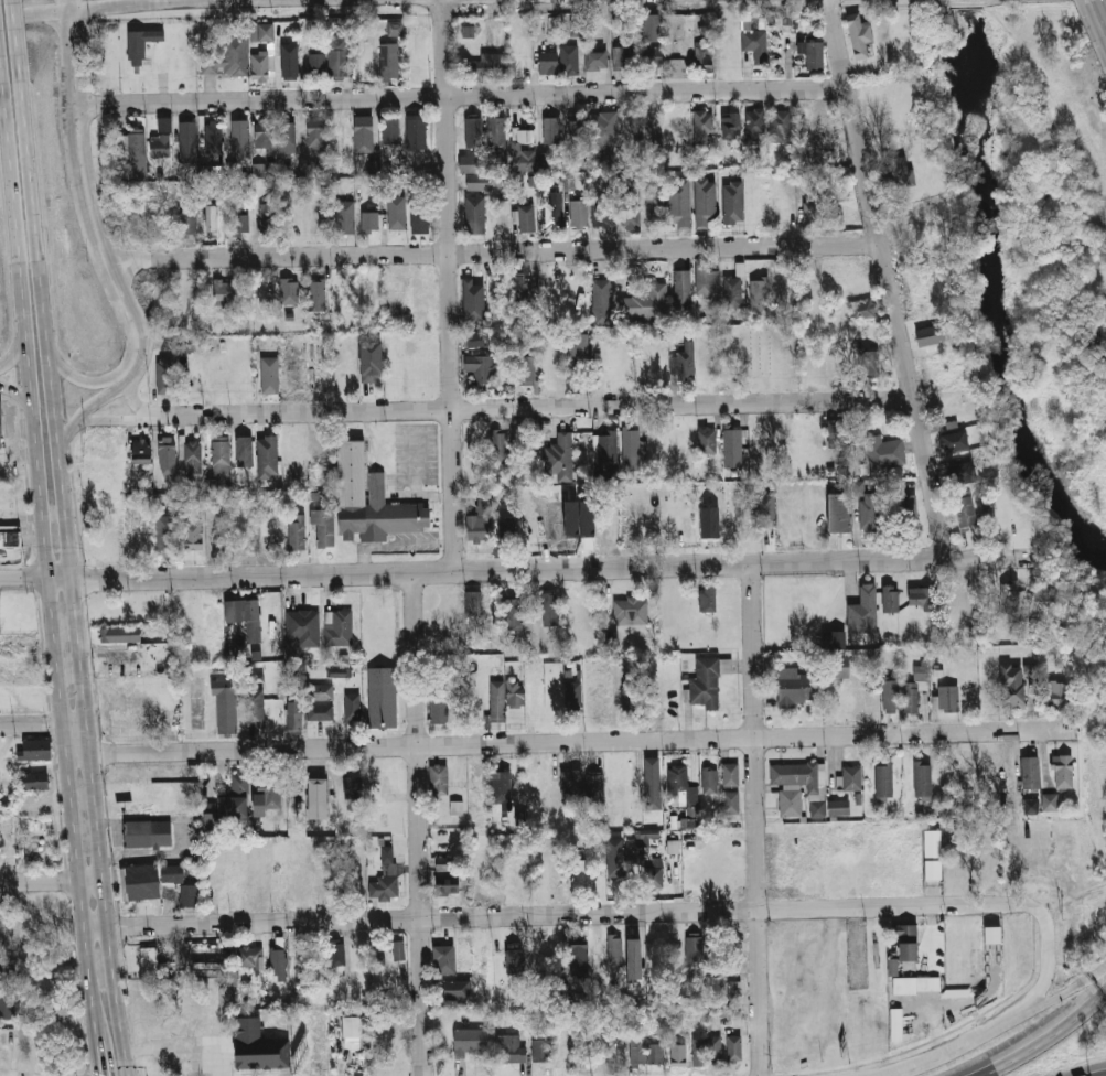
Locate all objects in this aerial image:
road: (1103, 6)
road: (85, 8)
river: (964, 10)
building: (748, 20)
building: (551, 23)
building: (394, 28)
building: (652, 28)
building: (254, 32)
building: (265, 33)
building: (859, 35)
road: (25, 41)
building: (754, 44)
building: (139, 45)
road: (3, 47)
building: (814, 55)
building: (652, 56)
building: (337, 57)
building: (621, 57)
building: (702, 57)
building: (226, 58)
building: (594, 58)
building: (569, 61)
building: (389, 62)
building: (546, 63)
building: (259, 65)
building: (289, 65)
building: (316, 65)
building: (486, 66)
building: (675, 67)
road: (455, 96)
building: (729, 125)
building: (752, 125)
building: (780, 125)
building: (576, 128)
building: (550, 129)
building: (390, 130)
building: (415, 131)
building: (472, 131)
building: (602, 131)
building: (700, 131)
building: (262, 132)
building: (495, 132)
building: (315, 133)
building: (363, 133)
building: (213, 137)
building: (239, 137)
building: (286, 137)
building: (186, 141)
building: (160, 146)
building: (522, 149)
building: (133, 151)
building: (541, 160)
building: (470, 163)
building: (230, 169)
building: (258, 170)
building: (210, 171)
building: (896, 172)
building: (483, 181)
road: (89, 190)
building: (678, 200)
building: (704, 201)
building: (732, 202)
building: (502, 206)
building: (654, 207)
building: (551, 211)
building: (810, 211)
building: (395, 212)
building: (629, 212)
building: (578, 213)
building: (601, 213)
building: (474, 214)
building: (266, 216)
building: (344, 216)
building: (523, 217)
building: (418, 219)
building: (368, 220)
building: (186, 222)
building: (238, 223)
road: (84, 229)
road: (490, 252)
building: (705, 278)
road: (890, 279)
road: (450, 287)
building: (522, 288)
building: (681, 289)
building: (288, 290)
building: (731, 291)
building: (758, 293)
building: (315, 294)
building: (472, 300)
river: (988, 300)
building: (601, 301)
building: (644, 302)
building: (861, 309)
building: (932, 333)
building: (477, 338)
road: (18, 349)
building: (576, 352)
building: (371, 359)
building: (685, 359)
building: (867, 363)
building: (479, 367)
building: (527, 372)
building: (269, 374)
building: (164, 376)
road: (19, 395)
road: (133, 399)
road: (93, 407)
road: (537, 409)
road: (116, 420)
building: (0, 431)
building: (706, 440)
building: (953, 441)
building: (731, 445)
building: (297, 446)
building: (497, 446)
building: (631, 449)
building: (605, 450)
building: (140, 451)
building: (244, 451)
building: (883, 451)
parking lot: (417, 453)
building: (192, 456)
building: (267, 456)
building: (168, 458)
building: (558, 458)
building: (221, 460)
road: (417, 461)
building: (958, 472)
road: (400, 478)
building: (857, 487)
road: (421, 496)
building: (372, 499)
building: (902, 505)
building: (763, 509)
building: (838, 512)
building: (870, 512)
building: (964, 512)
building: (477, 521)
building: (708, 521)
building: (322, 528)
building: (505, 529)
building: (297, 531)
building: (167, 532)
building: (192, 534)
building: (10, 536)
road: (394, 541)
parking lot: (415, 542)
road: (51, 559)
road: (994, 559)
road: (474, 572)
road: (77, 579)
building: (1009, 593)
building: (920, 596)
building: (707, 598)
building: (890, 598)
building: (473, 603)
building: (549, 607)
building: (862, 610)
building: (241, 611)
building: (631, 611)
building: (513, 621)
building: (337, 626)
building: (300, 628)
building: (114, 633)
building: (609, 638)
building: (833, 639)
building: (840, 667)
building: (337, 672)
building: (707, 680)
building: (915, 685)
building: (1011, 686)
building: (796, 689)
building: (319, 691)
building: (514, 692)
building: (572, 695)
building: (630, 695)
building: (890, 695)
building: (1057, 695)
building: (383, 697)
building: (945, 699)
building: (227, 702)
building: (352, 706)
building: (504, 706)
building: (255, 707)
building: (439, 709)
building: (319, 712)
building: (293, 717)
road: (79, 724)
road: (34, 725)
road: (573, 741)
building: (35, 750)
building: (1062, 771)
building: (1030, 772)
building: (730, 774)
building: (31, 778)
building: (849, 778)
building: (438, 779)
building: (922, 779)
building: (570, 781)
building: (709, 781)
building: (883, 781)
building: (652, 784)
building: (352, 786)
building: (593, 786)
building: (799, 786)
building: (501, 787)
building: (316, 794)
building: (683, 794)
building: (266, 796)
building: (229, 801)
building: (730, 801)
building: (1049, 801)
building: (454, 807)
building: (838, 808)
road: (758, 820)
road: (420, 825)
building: (150, 833)
building: (645, 835)
building: (631, 853)
building: (930, 853)
building: (614, 857)
building: (442, 863)
building: (653, 871)
building: (579, 872)
building: (172, 873)
building: (385, 875)
road: (41, 881)
road: (96, 881)
building: (140, 881)
building: (447, 885)
building: (190, 894)
road: (552, 915)
building: (904, 940)
building: (728, 943)
road: (1051, 943)
building: (692, 947)
building: (398, 949)
building: (614, 949)
building: (336, 951)
building: (249, 956)
building: (578, 957)
building: (278, 958)
building: (443, 958)
building: (633, 958)
building: (514, 959)
parking lot: (178, 961)
building: (891, 967)
building: (208, 968)
building: (913, 983)
building: (733, 988)
road: (1074, 990)
building: (455, 994)
building: (8, 1005)
road: (1024, 1008)
building: (724, 1009)
building: (56, 1010)
road: (1028, 1011)
building: (894, 1024)
building: (353, 1025)
road: (937, 1034)
road: (1048, 1037)
building: (471, 1042)
building: (259, 1046)
building: (509, 1047)
building: (733, 1048)
building: (540, 1050)
building: (706, 1050)
road: (949, 1051)
building: (577, 1052)
building: (655, 1053)
parking lot: (196, 1054)
road: (104, 1055)
building: (378, 1059)
traffic signals: (106, 1074)
road: (82, 1075)
road: (1105, 1075)

